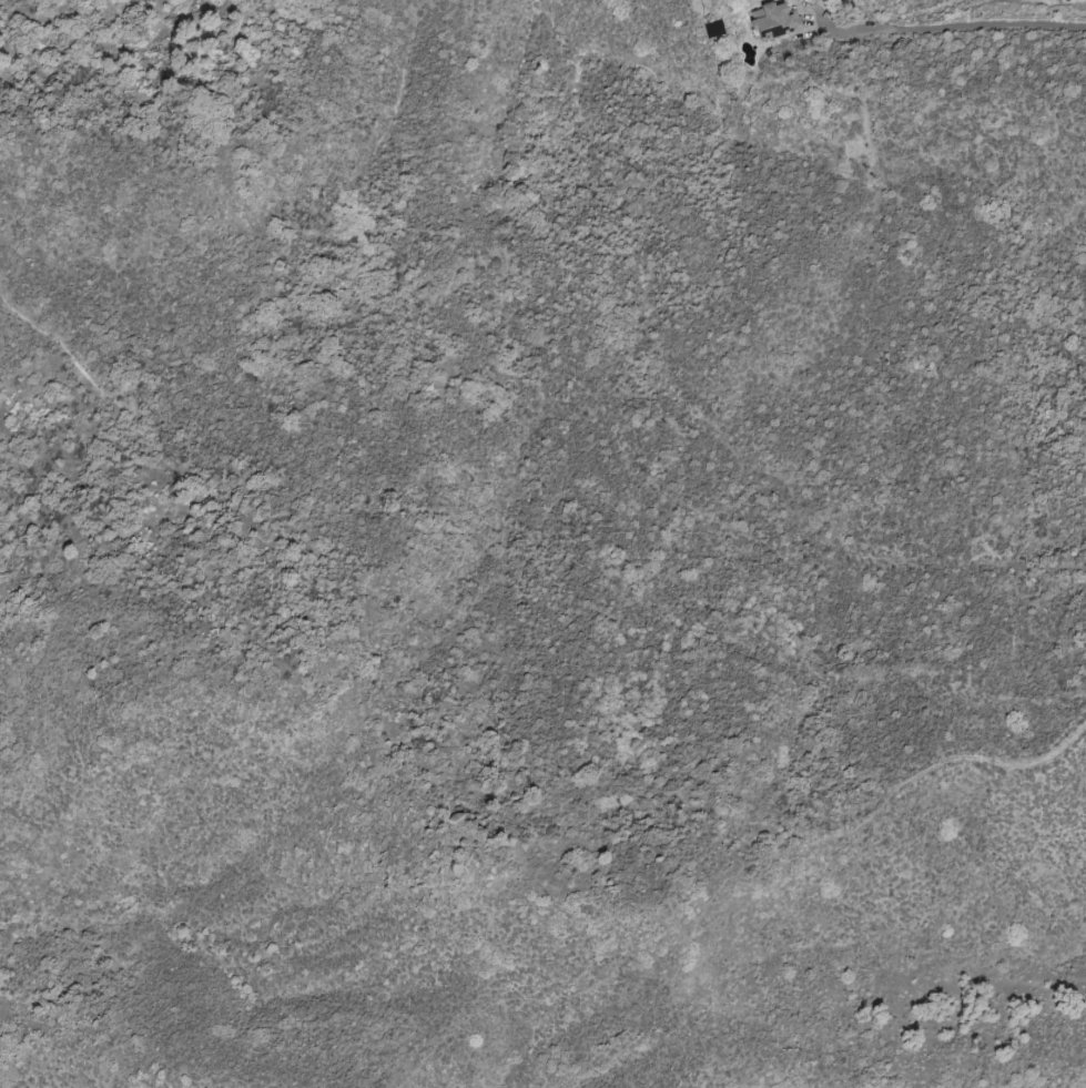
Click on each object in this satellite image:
road: (965, 14)
building: (780, 22)

